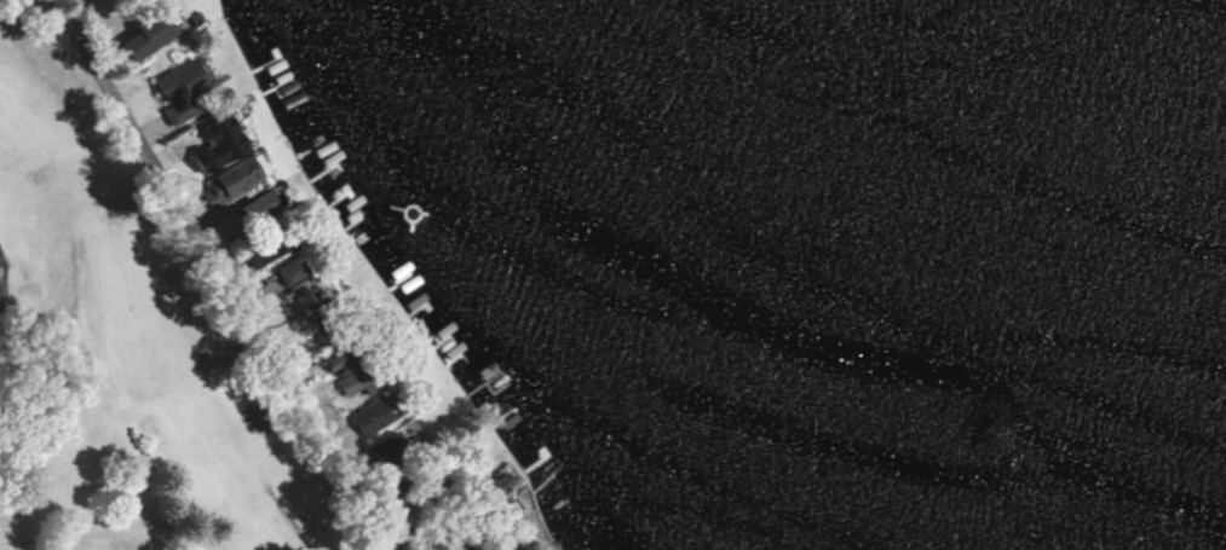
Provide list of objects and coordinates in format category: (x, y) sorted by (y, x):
road: (51, 17)
building: (145, 37)
building: (179, 91)
building: (218, 145)
building: (232, 180)
building: (258, 207)
building: (289, 271)
road: (218, 288)
park: (154, 342)
building: (350, 382)
building: (369, 417)
building: (501, 481)
road: (288, 519)

